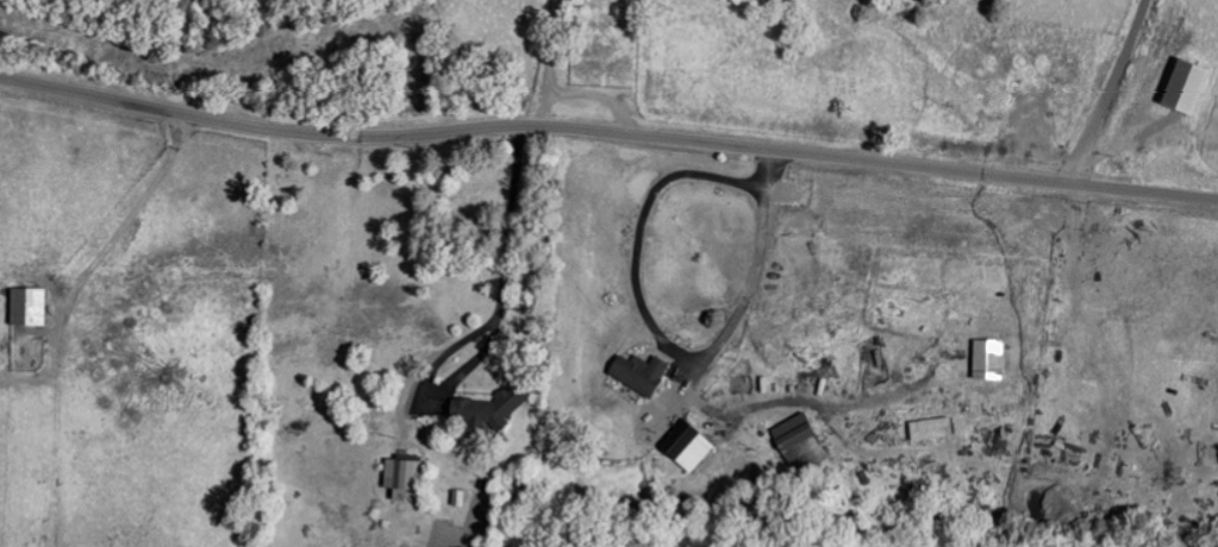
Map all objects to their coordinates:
road: (548, 63)
building: (1181, 86)
road: (1106, 93)
road: (596, 96)
road: (607, 133)
road: (504, 271)
building: (24, 304)
road: (661, 339)
road: (1049, 365)
building: (635, 371)
building: (481, 409)
building: (795, 440)
building: (686, 447)
building: (395, 476)

